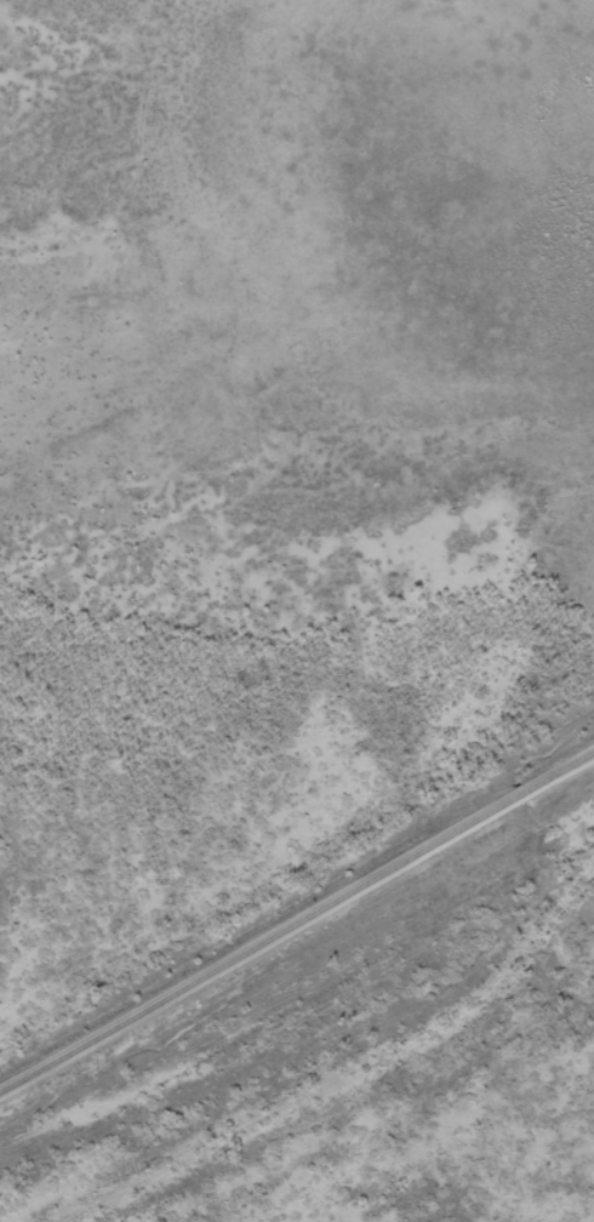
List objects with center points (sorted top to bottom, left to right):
railway: (297, 924)
road: (345, 1069)

